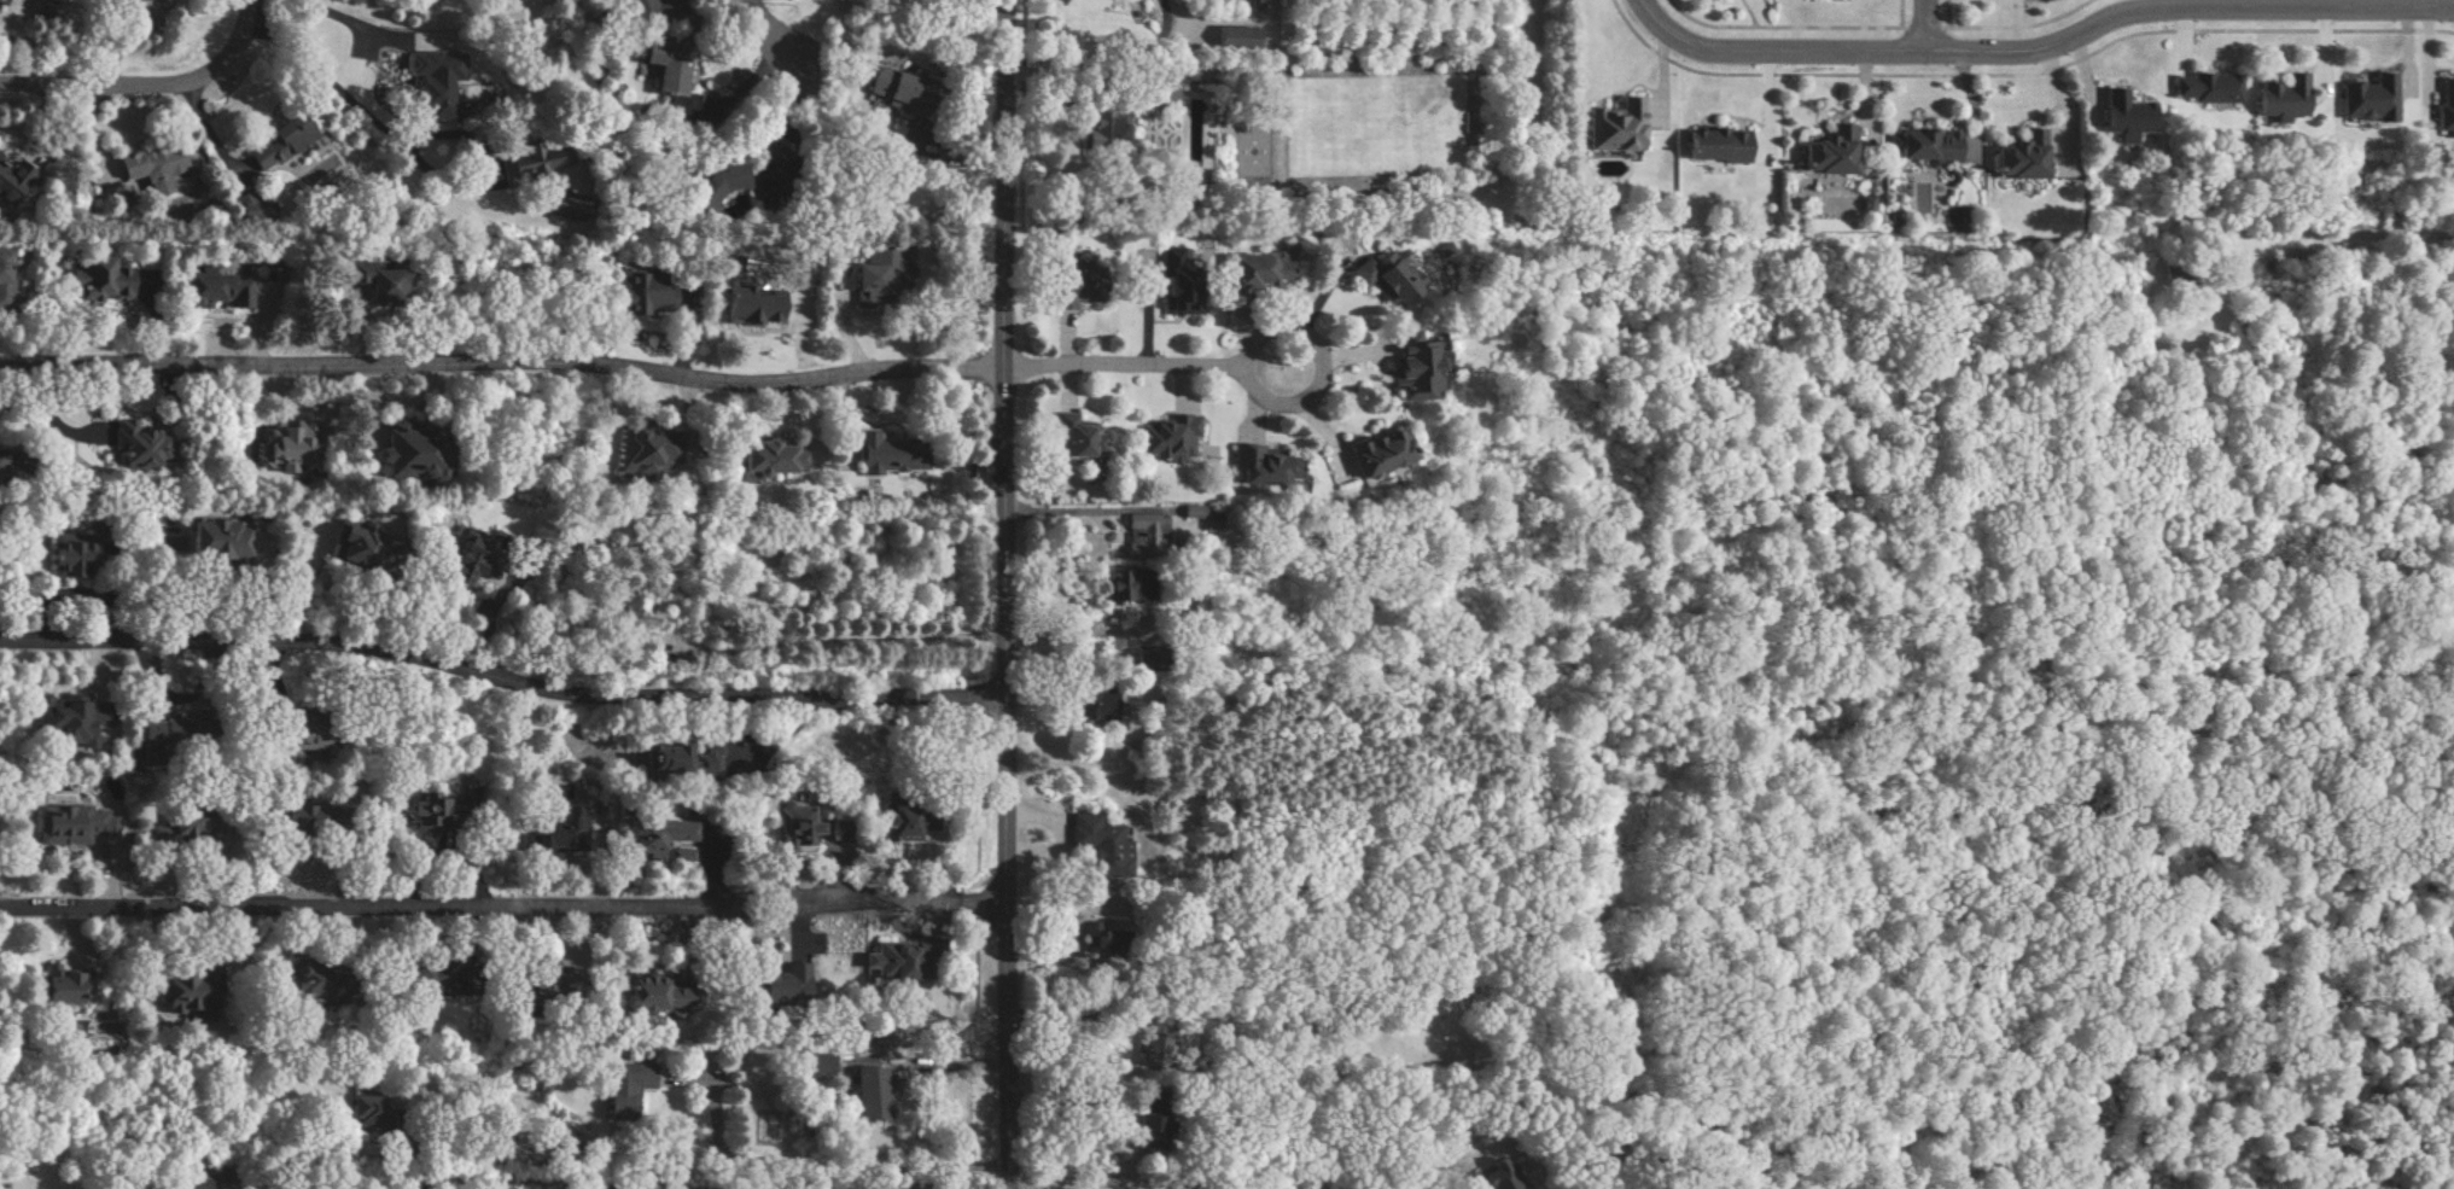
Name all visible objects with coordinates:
building: (118, 5)
building: (1257, 6)
building: (636, 8)
road: (1164, 14)
road: (349, 17)
road: (1919, 27)
building: (1234, 37)
road: (2039, 48)
road: (780, 51)
road: (319, 68)
road: (1067, 77)
building: (433, 83)
building: (892, 88)
building: (2205, 88)
road: (152, 91)
building: (1164, 93)
building: (2279, 99)
building: (2366, 100)
building: (2444, 107)
building: (2123, 116)
building: (1611, 127)
building: (1100, 129)
building: (274, 144)
building: (1710, 145)
building: (1922, 146)
building: (1825, 153)
building: (2017, 158)
building: (532, 161)
building: (151, 168)
building: (712, 185)
building: (1863, 205)
building: (1249, 273)
building: (874, 276)
building: (1382, 278)
building: (95, 281)
building: (371, 281)
building: (1071, 281)
building: (1172, 282)
road: (1321, 288)
building: (210, 290)
building: (641, 293)
building: (750, 304)
road: (1067, 351)
road: (1347, 352)
road: (502, 367)
building: (1409, 368)
road: (1240, 372)
road: (1182, 384)
road: (1248, 414)
road: (1322, 435)
building: (1078, 437)
building: (1167, 438)
building: (138, 444)
building: (287, 447)
building: (884, 454)
building: (400, 455)
building: (639, 455)
building: (1375, 455)
building: (1259, 467)
building: (1289, 486)
road: (1066, 511)
building: (1189, 511)
building: (1141, 534)
building: (216, 542)
building: (354, 543)
building: (72, 555)
building: (467, 556)
building: (1119, 584)
road: (1003, 594)
building: (617, 602)
road: (501, 683)
building: (1097, 707)
building: (70, 721)
building: (307, 741)
building: (153, 744)
building: (675, 759)
building: (426, 810)
building: (298, 817)
building: (70, 821)
building: (896, 823)
building: (792, 827)
building: (555, 830)
building: (651, 837)
building: (1100, 846)
building: (678, 855)
road: (502, 908)
building: (1095, 937)
building: (891, 960)
building: (308, 983)
building: (781, 984)
building: (63, 986)
building: (648, 992)
building: (186, 993)
building: (817, 1065)
building: (626, 1085)
building: (872, 1092)
building: (367, 1106)
road: (827, 1161)
building: (200, 1184)
road: (290, 1184)
road: (491, 1185)

